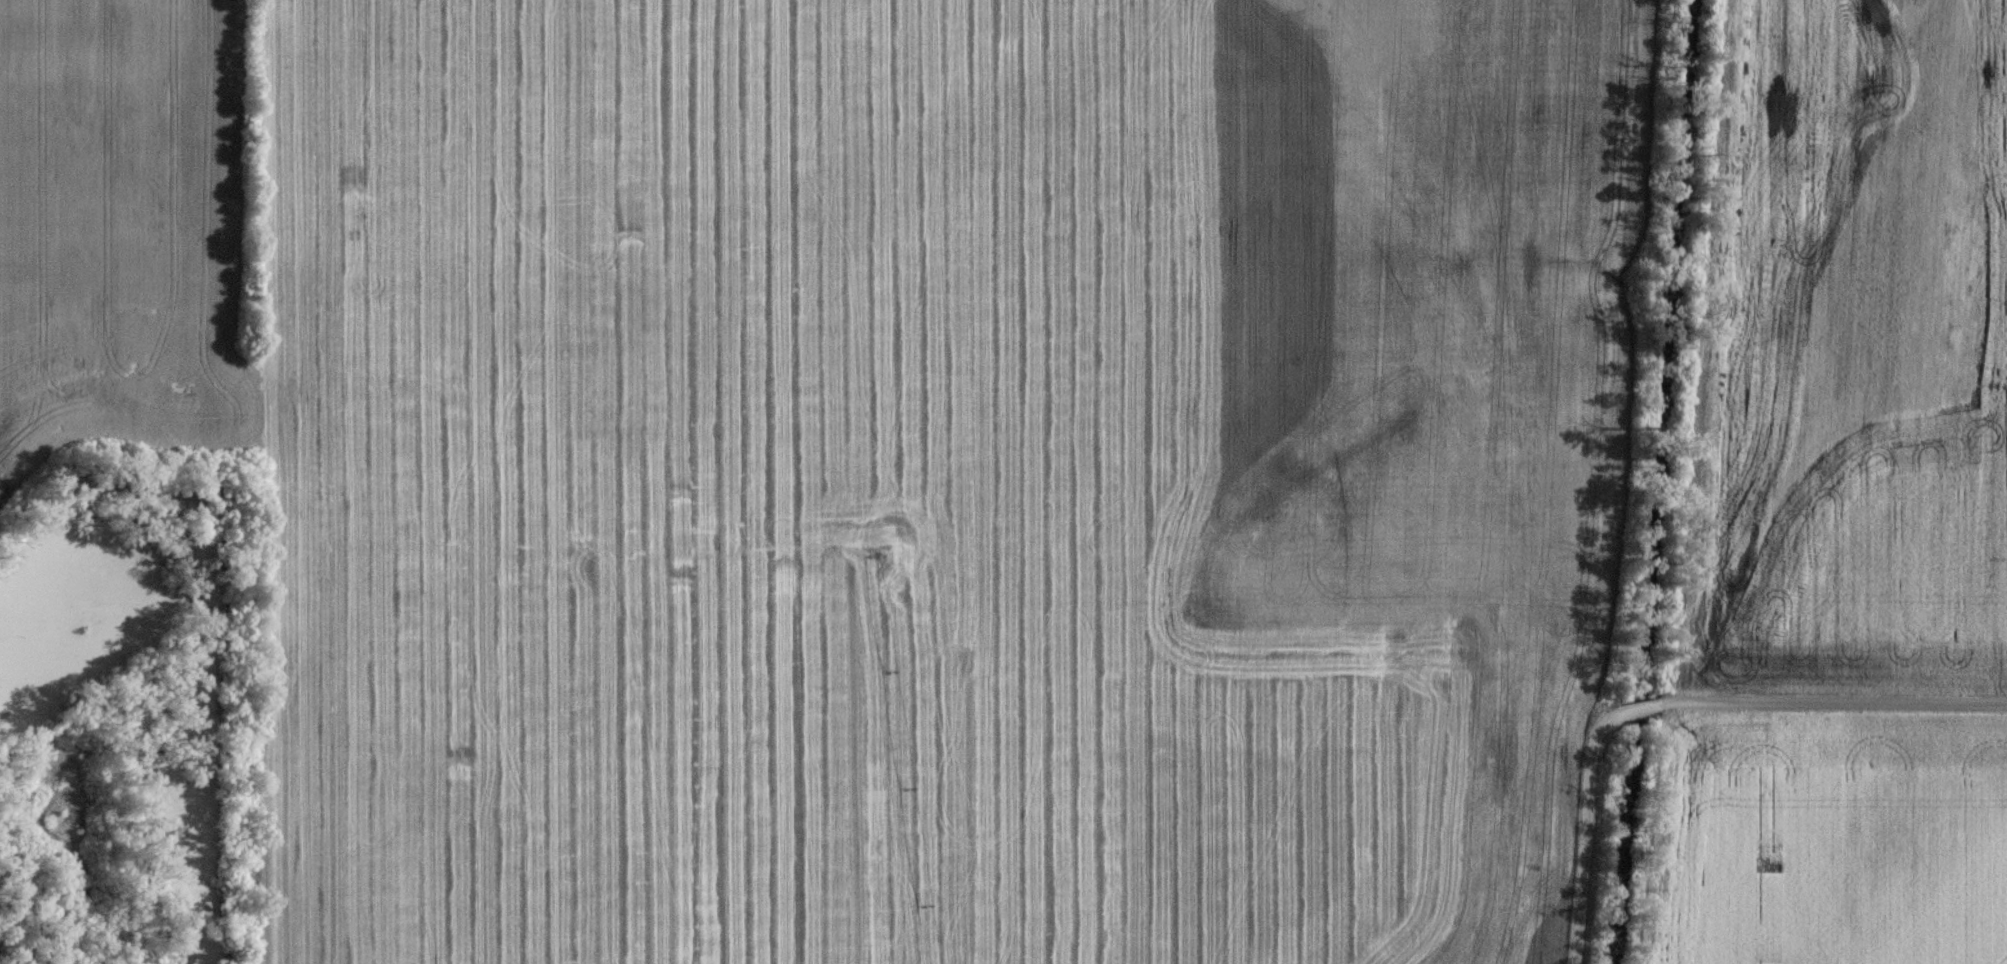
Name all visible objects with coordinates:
road: (1836, 709)
road: (1642, 716)
road: (1588, 838)

